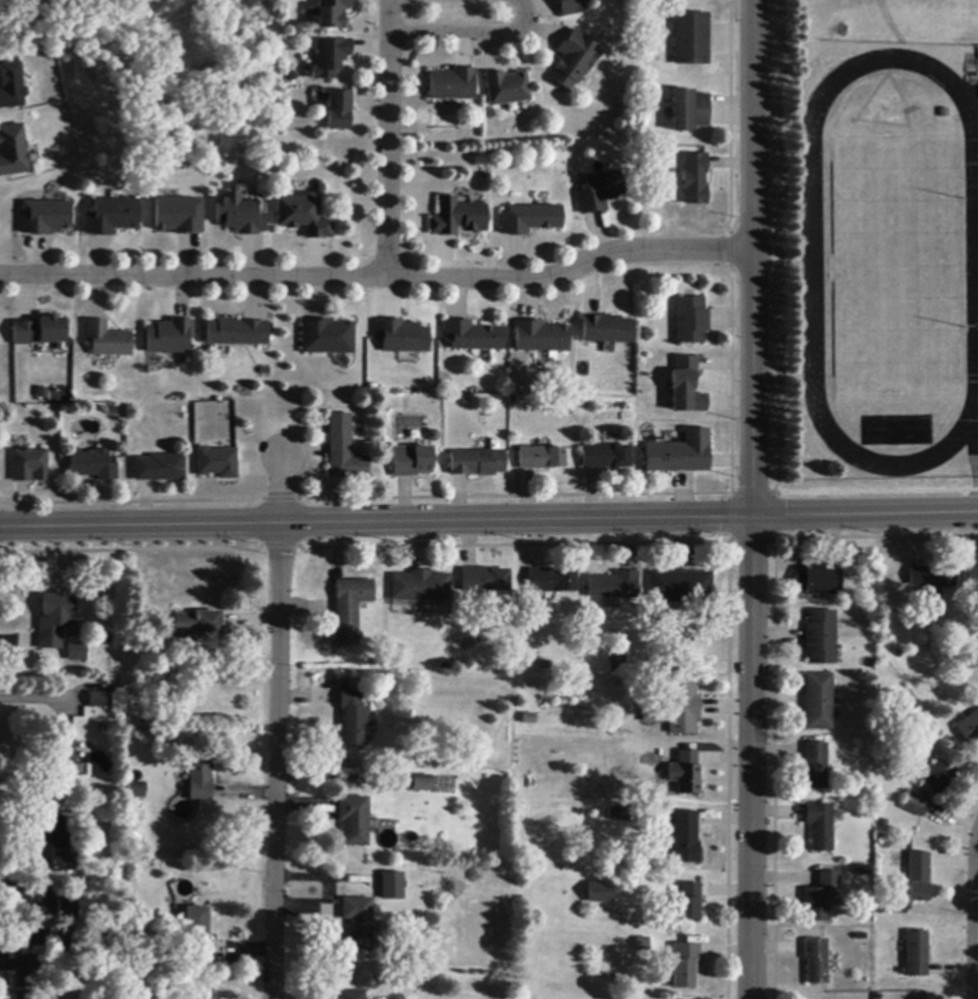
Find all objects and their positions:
building: (569, 7)
building: (333, 13)
park: (937, 18)
road: (469, 35)
building: (690, 39)
building: (329, 58)
building: (571, 60)
building: (452, 85)
building: (11, 86)
building: (506, 90)
building: (339, 111)
building: (688, 111)
park: (178, 133)
road: (388, 139)
building: (12, 151)
building: (694, 180)
building: (600, 192)
building: (111, 217)
building: (178, 217)
building: (240, 217)
building: (304, 217)
building: (45, 218)
building: (458, 218)
building: (530, 219)
road: (378, 278)
building: (690, 321)
building: (605, 330)
building: (38, 331)
building: (237, 333)
building: (170, 337)
building: (402, 337)
building: (472, 337)
building: (540, 337)
building: (327, 338)
building: (107, 341)
building: (686, 387)
building: (432, 436)
building: (343, 451)
building: (679, 454)
building: (606, 457)
building: (540, 458)
building: (411, 461)
building: (217, 463)
building: (476, 463)
building: (92, 465)
building: (29, 466)
building: (160, 468)
road: (751, 499)
road: (488, 519)
building: (970, 577)
building: (484, 580)
building: (932, 580)
building: (818, 582)
building: (549, 583)
building: (613, 586)
building: (679, 586)
building: (420, 587)
building: (349, 608)
building: (55, 621)
building: (198, 626)
building: (820, 638)
building: (77, 653)
building: (615, 664)
building: (97, 700)
building: (818, 702)
building: (682, 708)
building: (352, 719)
building: (529, 719)
road: (277, 726)
building: (969, 728)
building: (61, 765)
building: (815, 766)
building: (686, 773)
building: (936, 780)
building: (200, 781)
building: (421, 783)
building: (136, 790)
building: (915, 805)
building: (620, 815)
building: (353, 820)
building: (820, 826)
building: (686, 838)
building: (52, 845)
building: (862, 871)
building: (917, 878)
building: (390, 886)
building: (598, 891)
building: (820, 897)
building: (687, 904)
building: (67, 908)
building: (358, 922)
building: (197, 932)
building: (642, 944)
building: (916, 954)
building: (816, 961)
building: (684, 965)
building: (144, 967)
building: (29, 976)
building: (352, 995)

